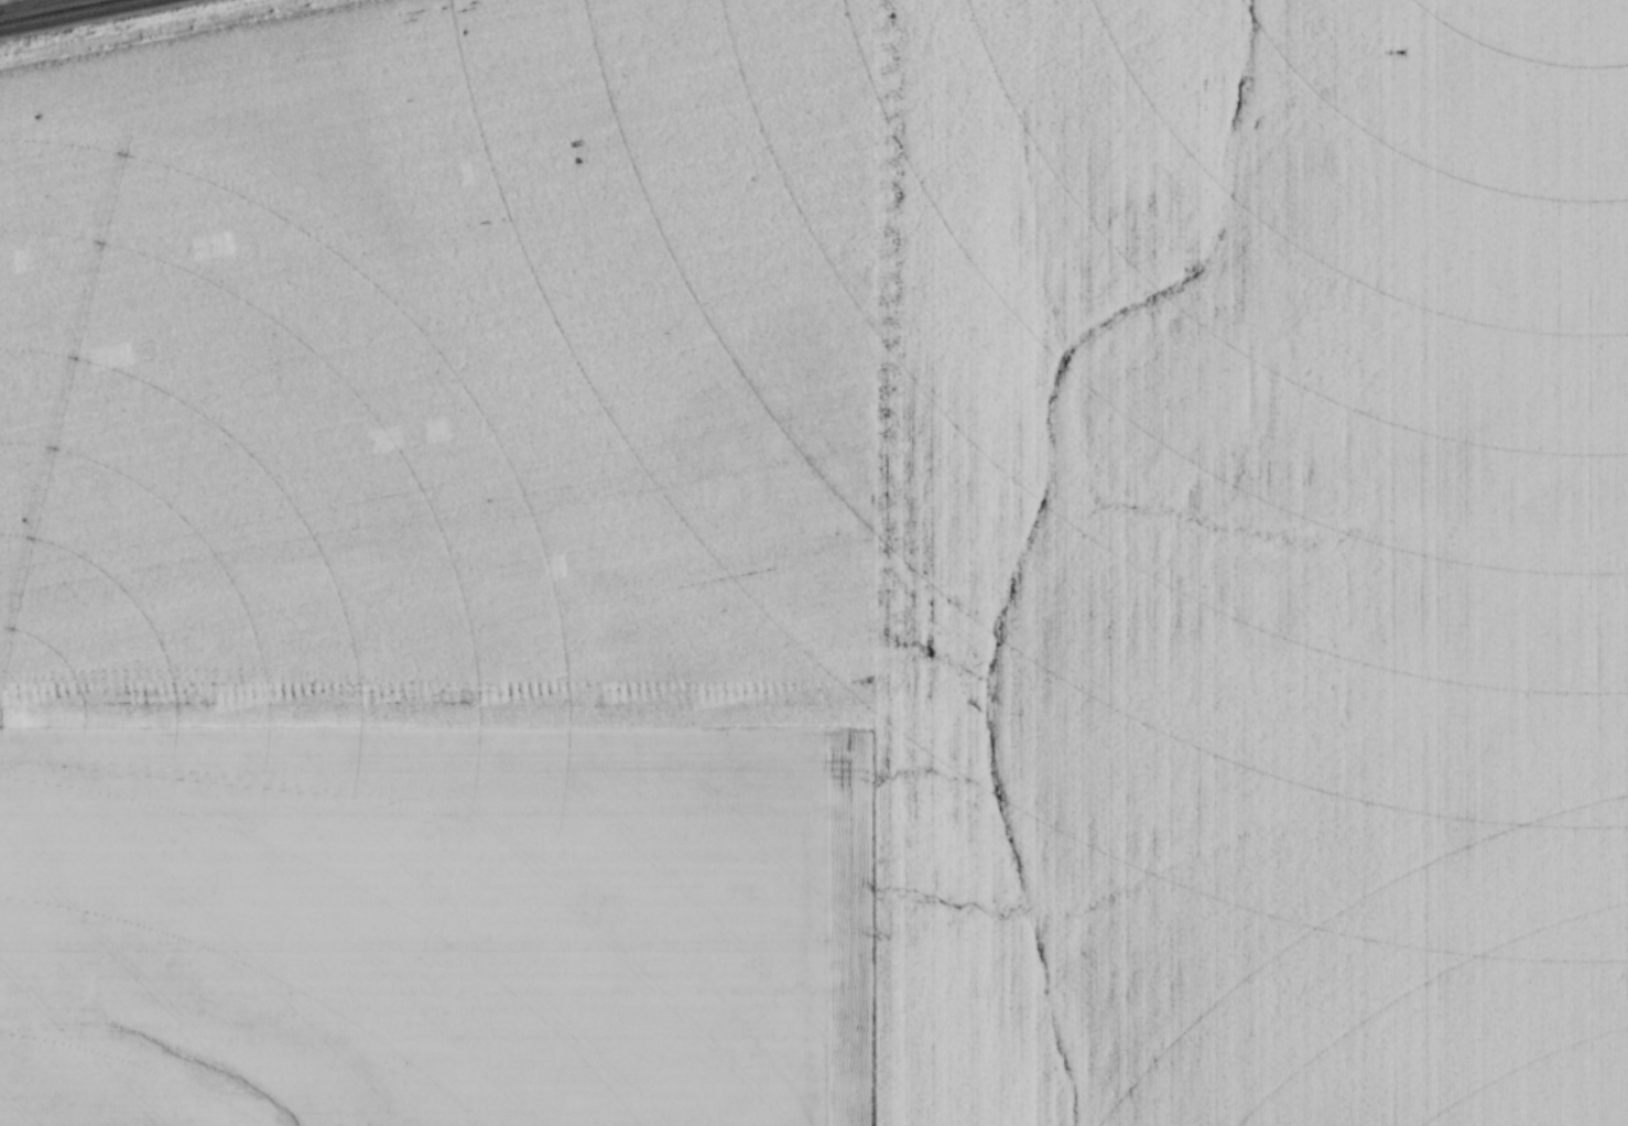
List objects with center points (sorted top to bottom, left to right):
railway: (15, 2)
railway: (67, 13)

